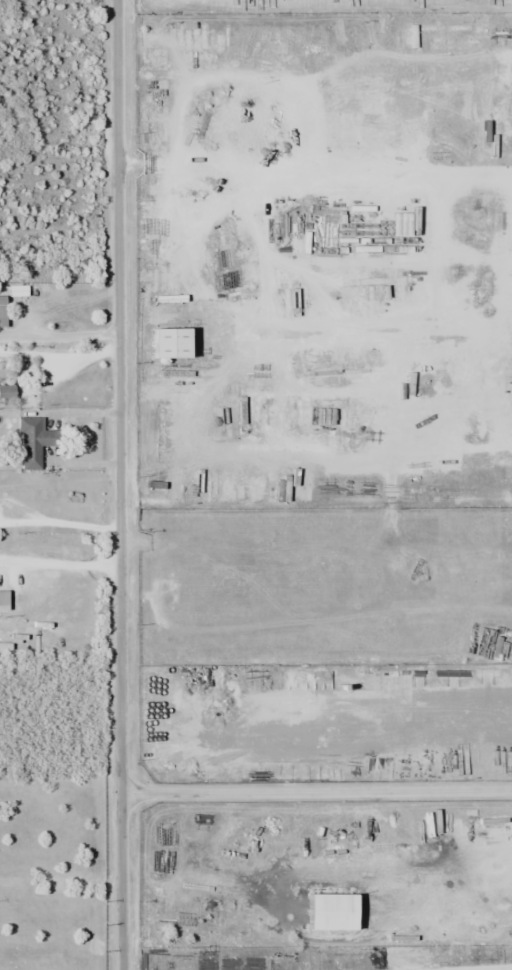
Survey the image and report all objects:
building: (363, 248)
building: (1, 300)
building: (167, 343)
building: (6, 391)
building: (32, 442)
building: (154, 480)
road: (122, 484)
building: (510, 675)
road: (317, 790)
power tower: (191, 951)

